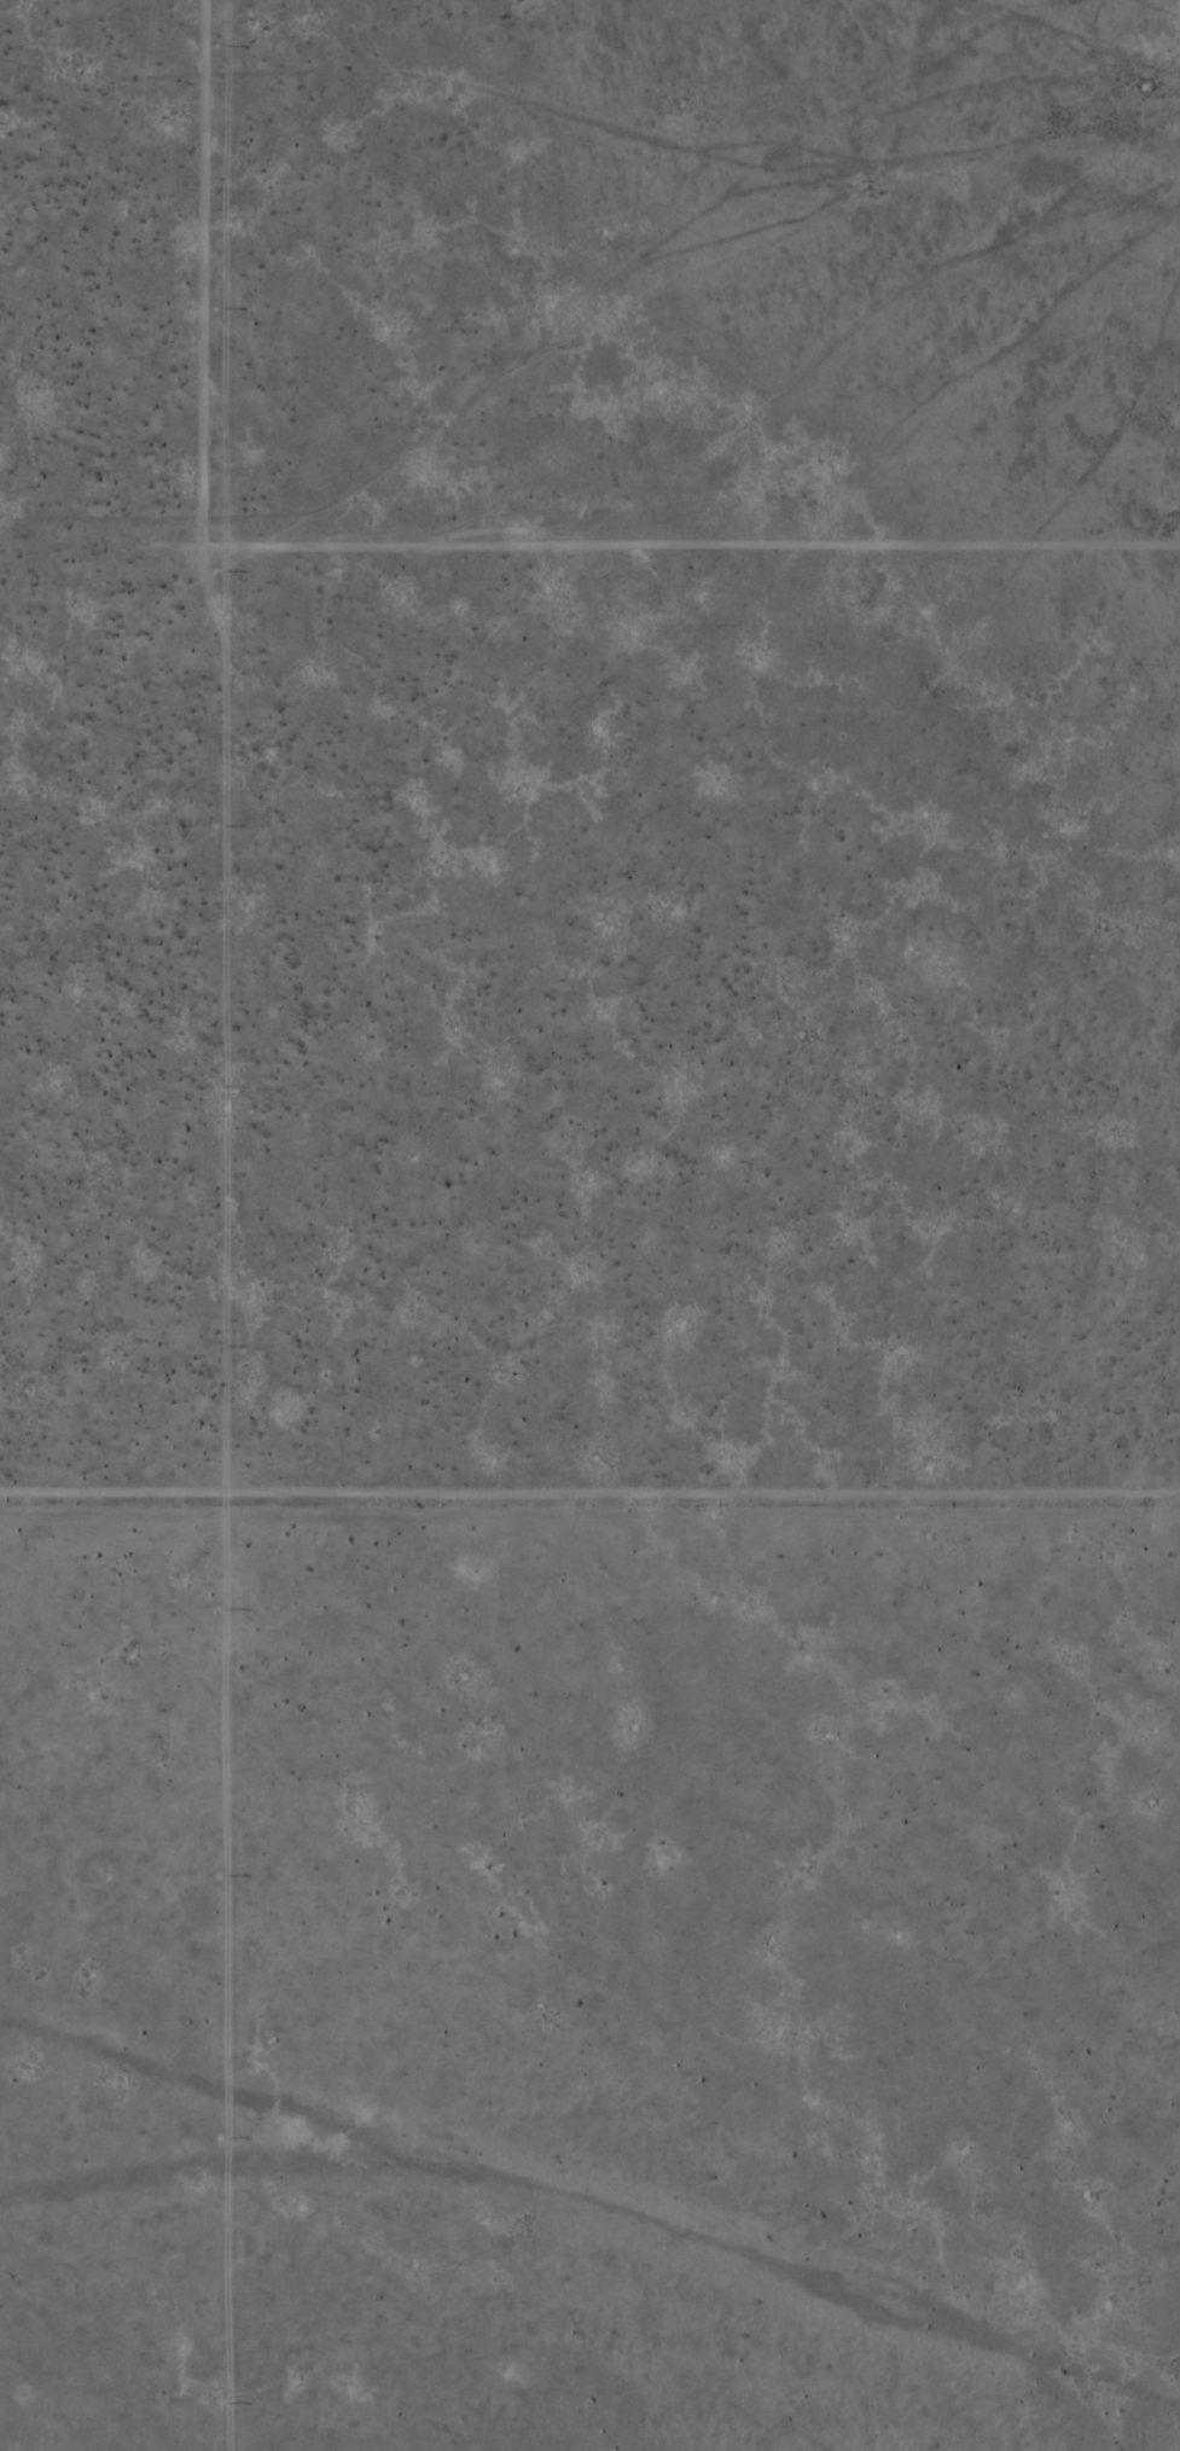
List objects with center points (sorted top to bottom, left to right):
road: (1140, 47)
road: (534, 312)

